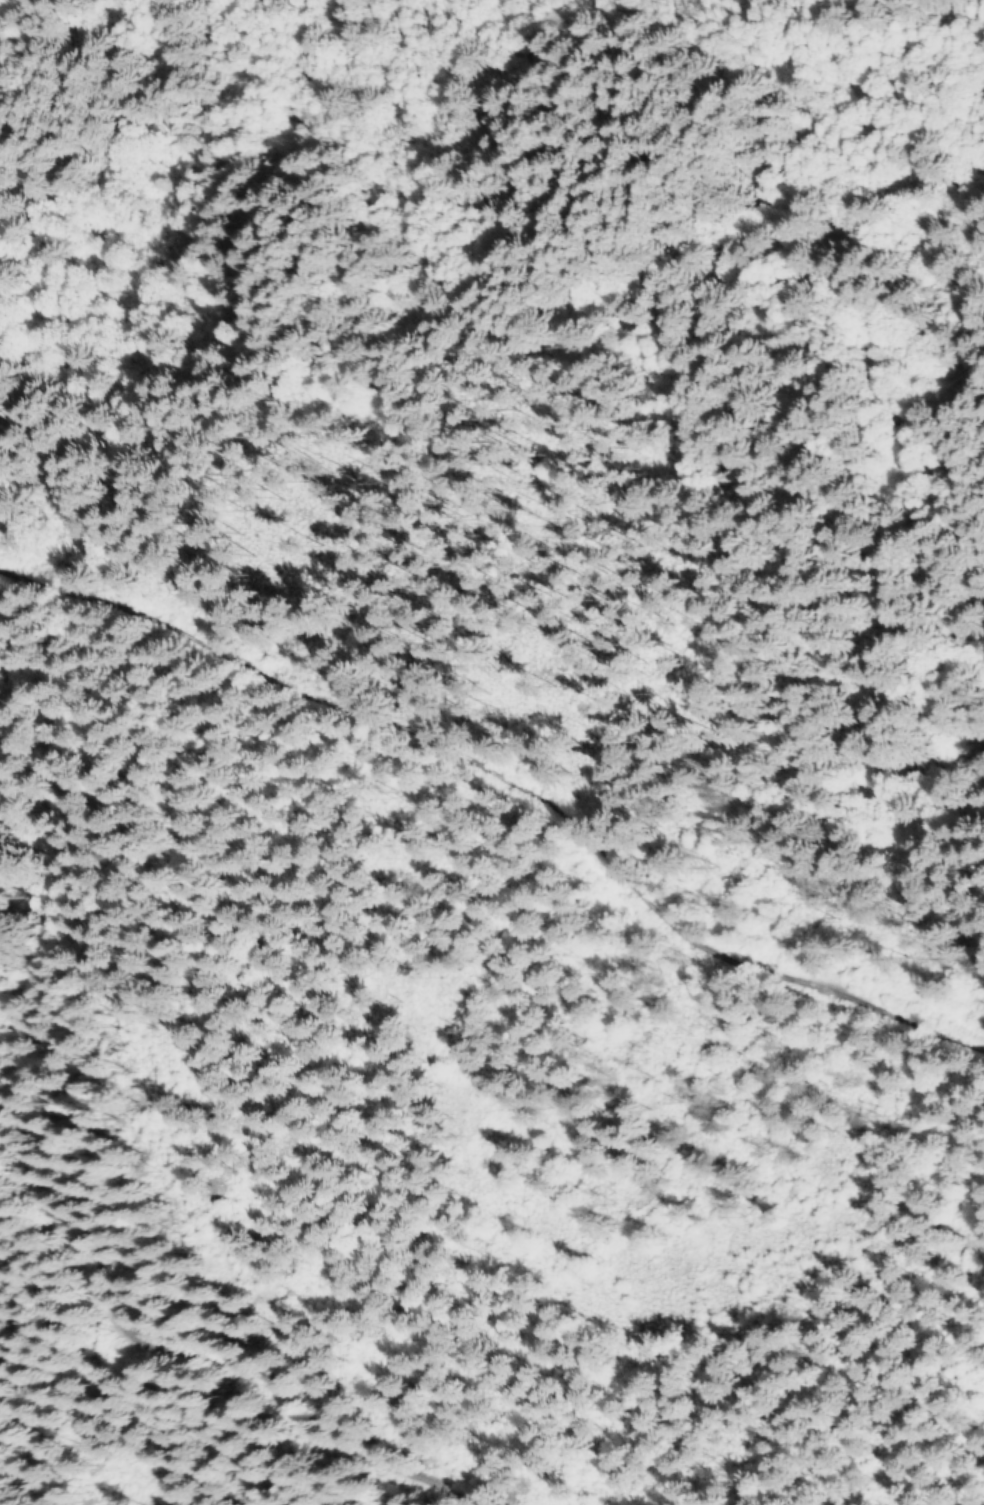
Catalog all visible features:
road: (509, 757)
road: (84, 1225)

